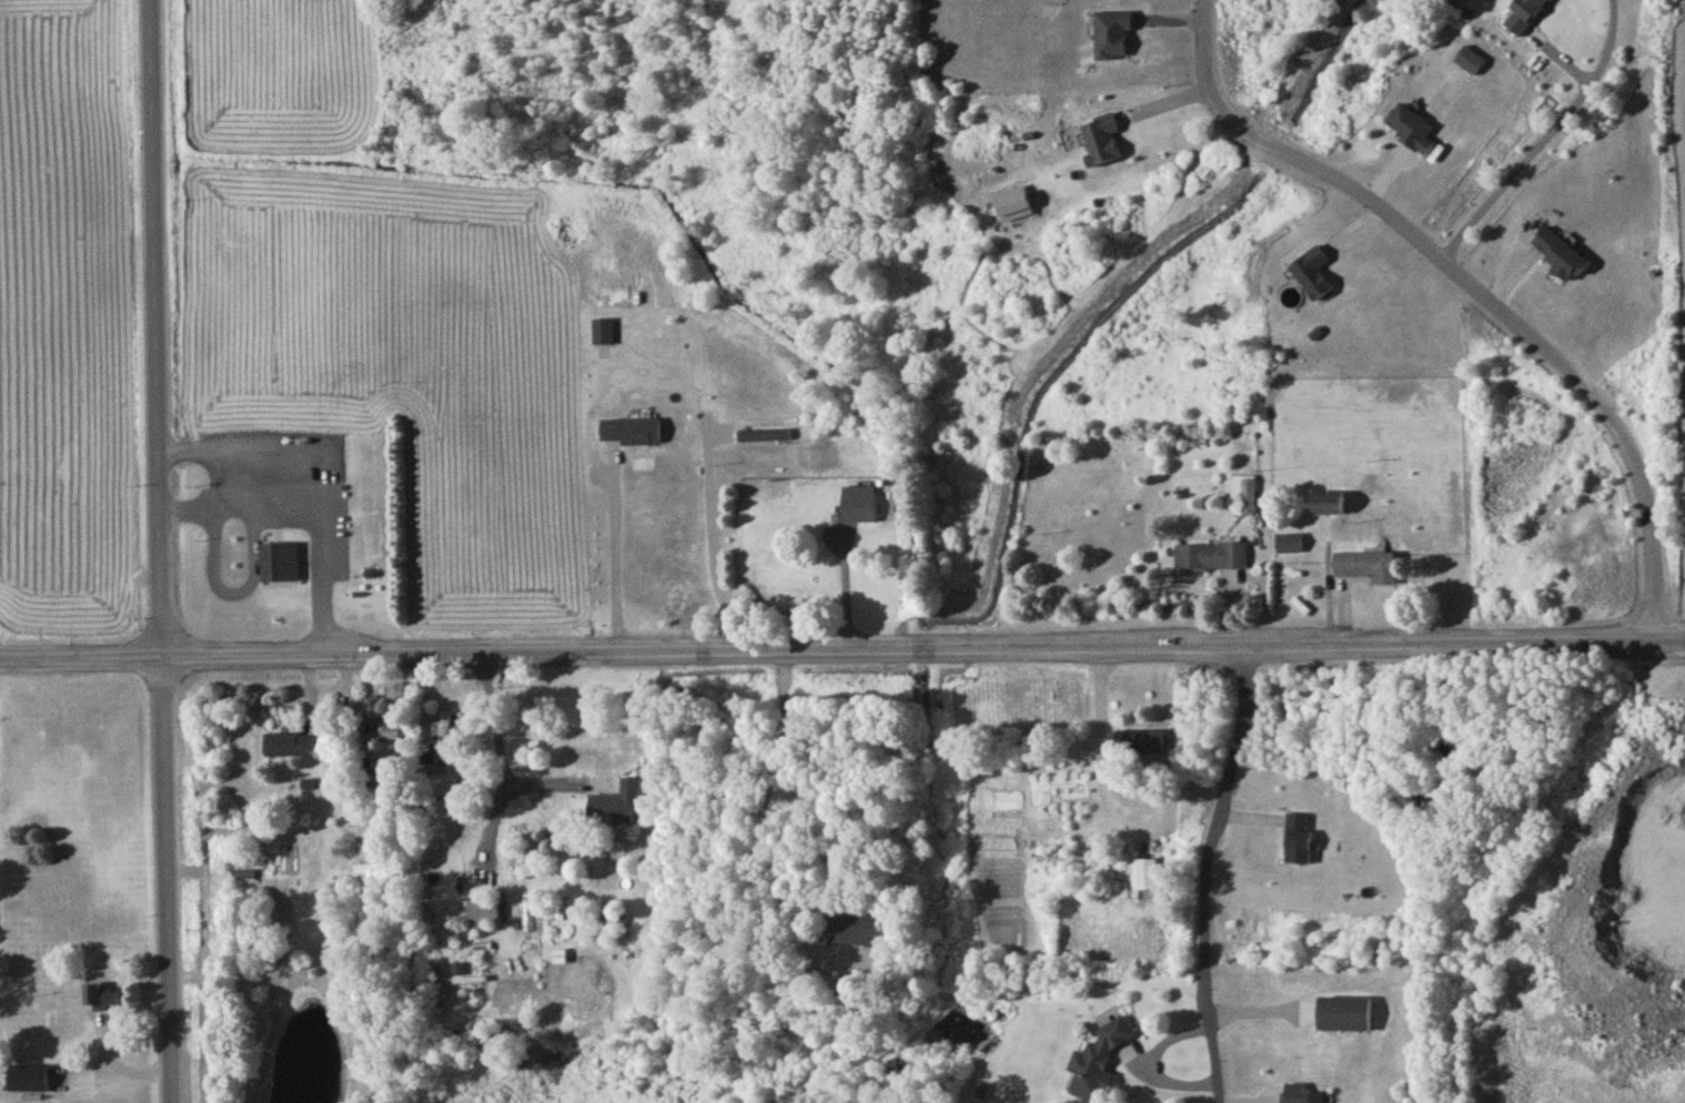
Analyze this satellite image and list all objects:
building: (1524, 17)
building: (1111, 39)
building: (1471, 63)
road: (1684, 107)
building: (1412, 131)
road: (1545, 140)
building: (1101, 143)
building: (1012, 206)
building: (1561, 257)
road: (1472, 289)
building: (603, 335)
building: (630, 435)
road: (252, 456)
building: (1244, 497)
road: (316, 503)
building: (1326, 506)
building: (821, 523)
road: (713, 544)
building: (278, 546)
building: (1291, 546)
road: (159, 551)
road: (616, 558)
building: (1212, 560)
building: (280, 565)
building: (1368, 569)
road: (841, 651)
building: (382, 737)
building: (442, 738)
building: (1139, 746)
building: (290, 748)
road: (1104, 749)
road: (502, 750)
road: (783, 816)
building: (1299, 840)
building: (601, 852)
road: (1205, 873)
building: (243, 878)
building: (1146, 878)
building: (482, 918)
building: (527, 918)
building: (856, 928)
building: (102, 1000)
building: (1344, 1019)
building: (1098, 1065)
building: (28, 1082)
building: (1299, 1096)

